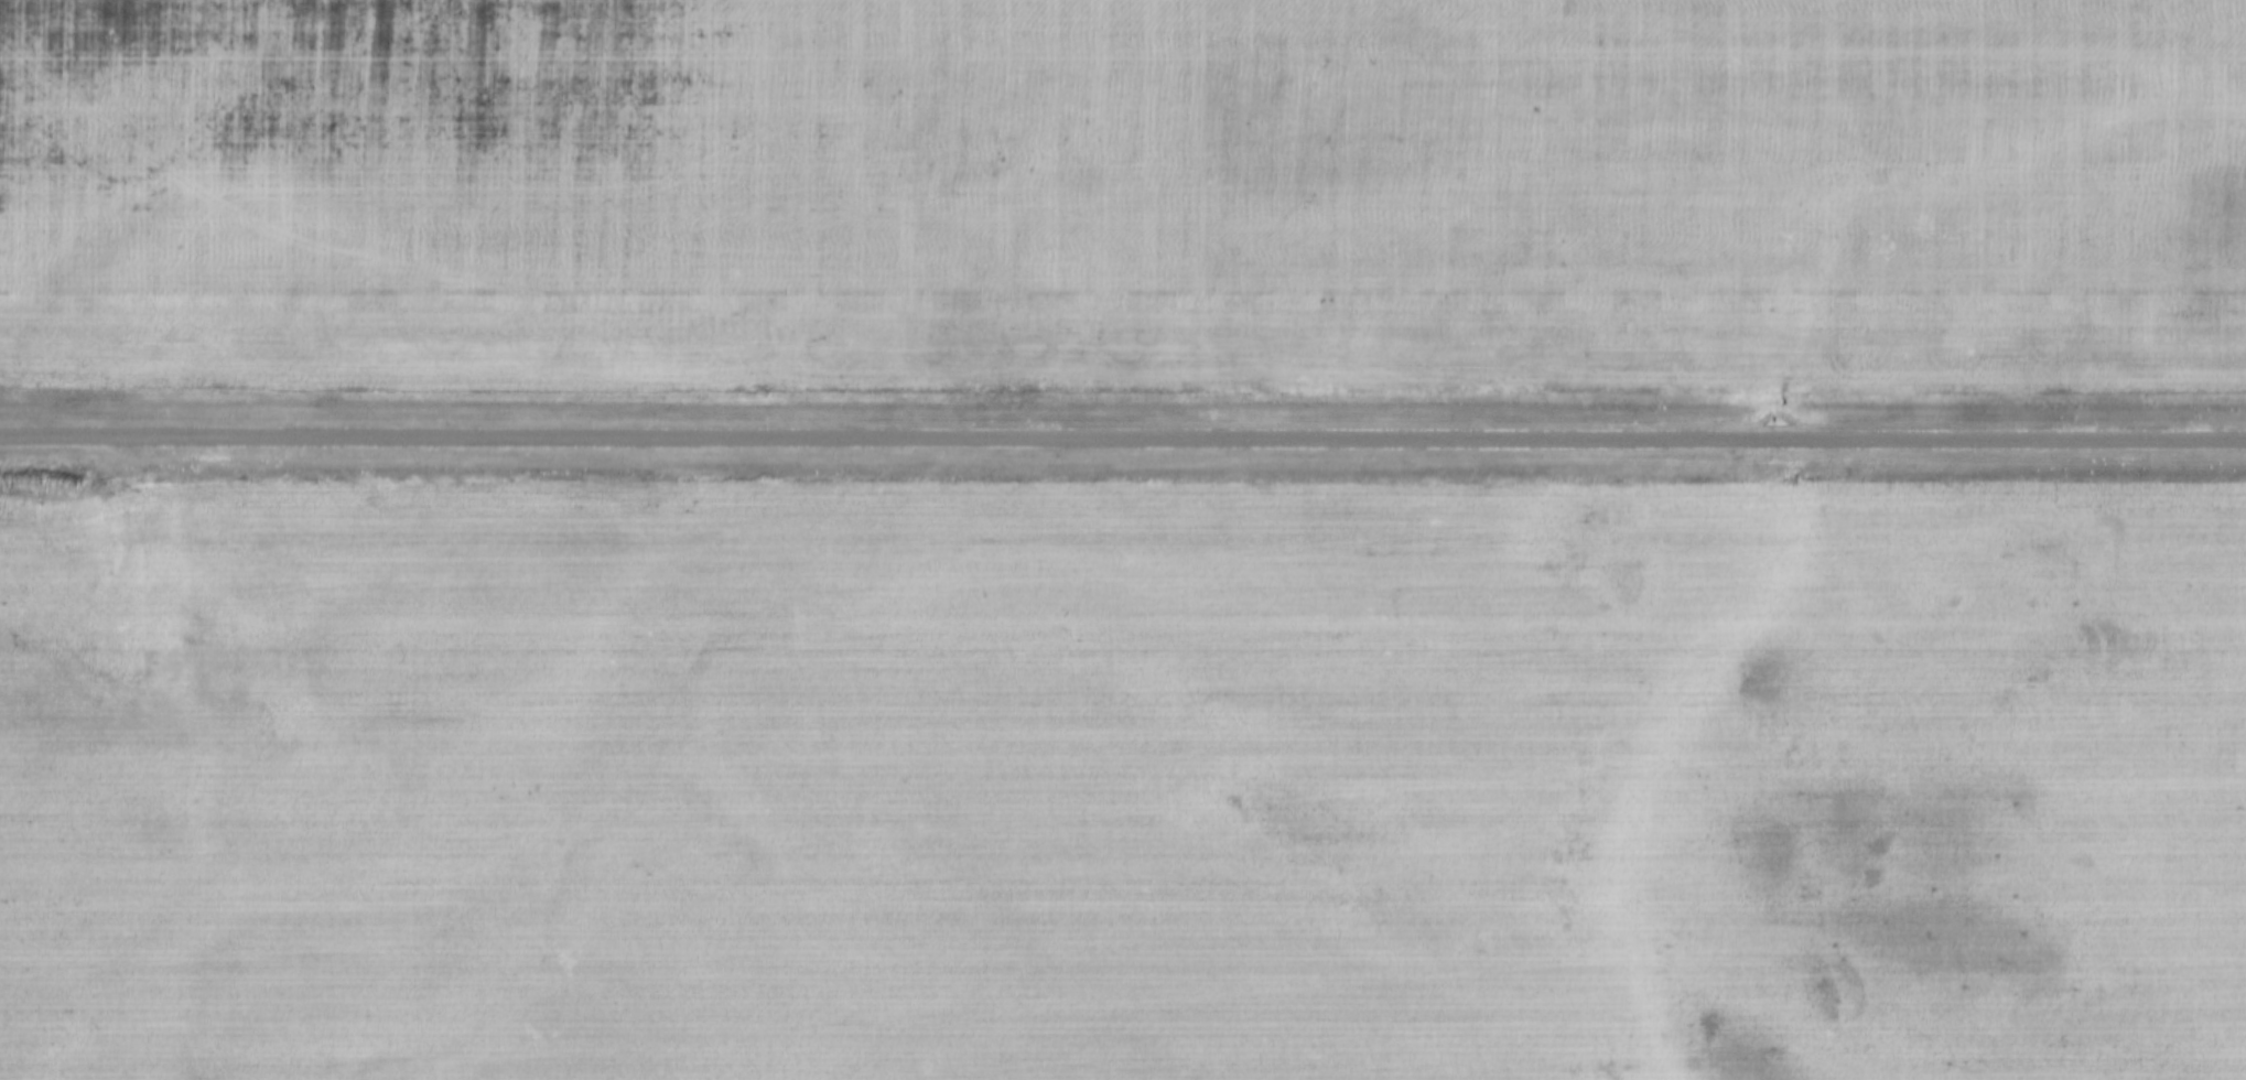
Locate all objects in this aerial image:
road: (1123, 441)

